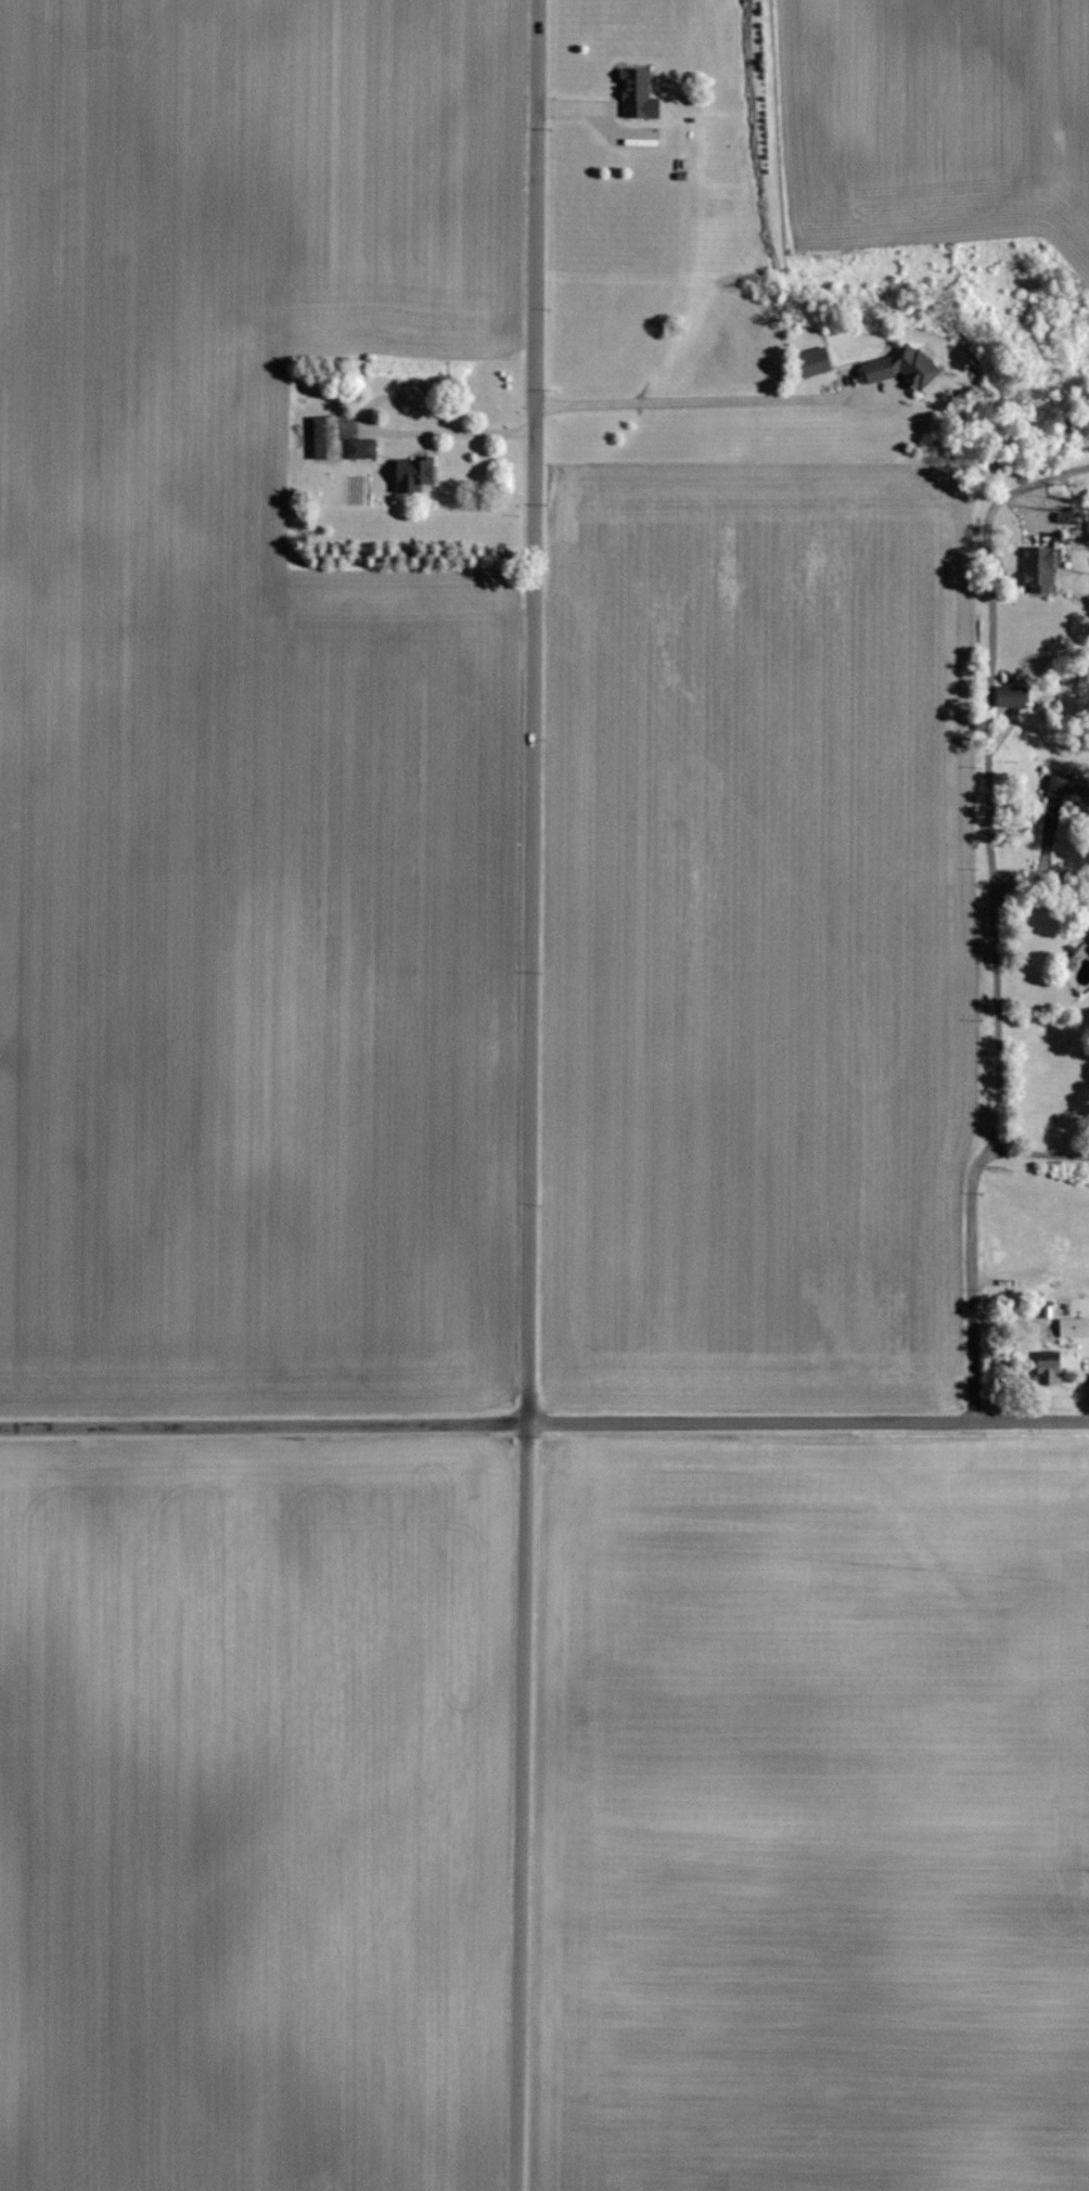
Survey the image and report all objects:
building: (638, 94)
building: (902, 368)
road: (703, 405)
road: (385, 436)
building: (326, 438)
building: (361, 449)
building: (414, 475)
building: (1038, 569)
road: (990, 652)
building: (1012, 696)
building: (1069, 791)
building: (1087, 934)
road: (997, 1022)
road: (529, 1095)
road: (973, 1280)
building: (1074, 1328)
building: (1048, 1369)
road: (807, 1422)
road: (262, 1427)

